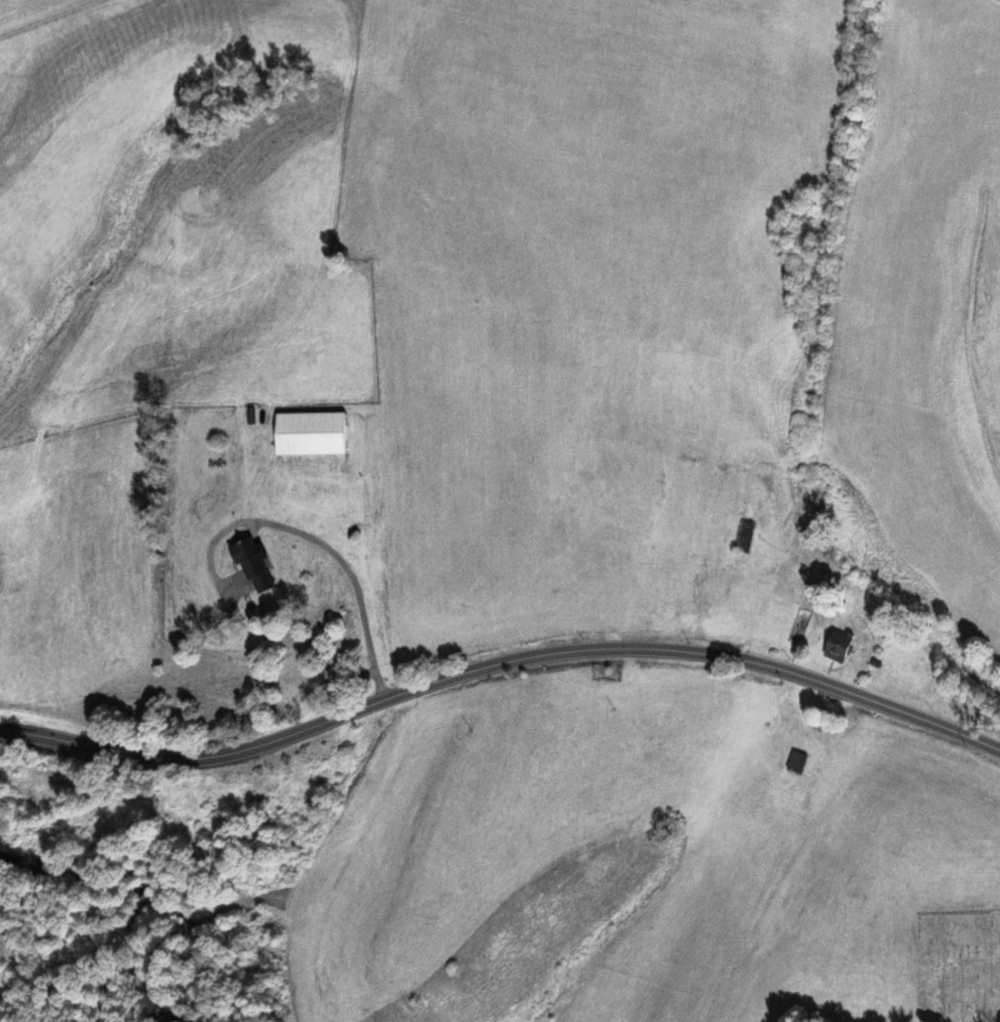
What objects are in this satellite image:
road: (843, 35)
building: (311, 433)
building: (744, 537)
building: (254, 565)
building: (838, 647)
road: (500, 673)
building: (797, 762)

